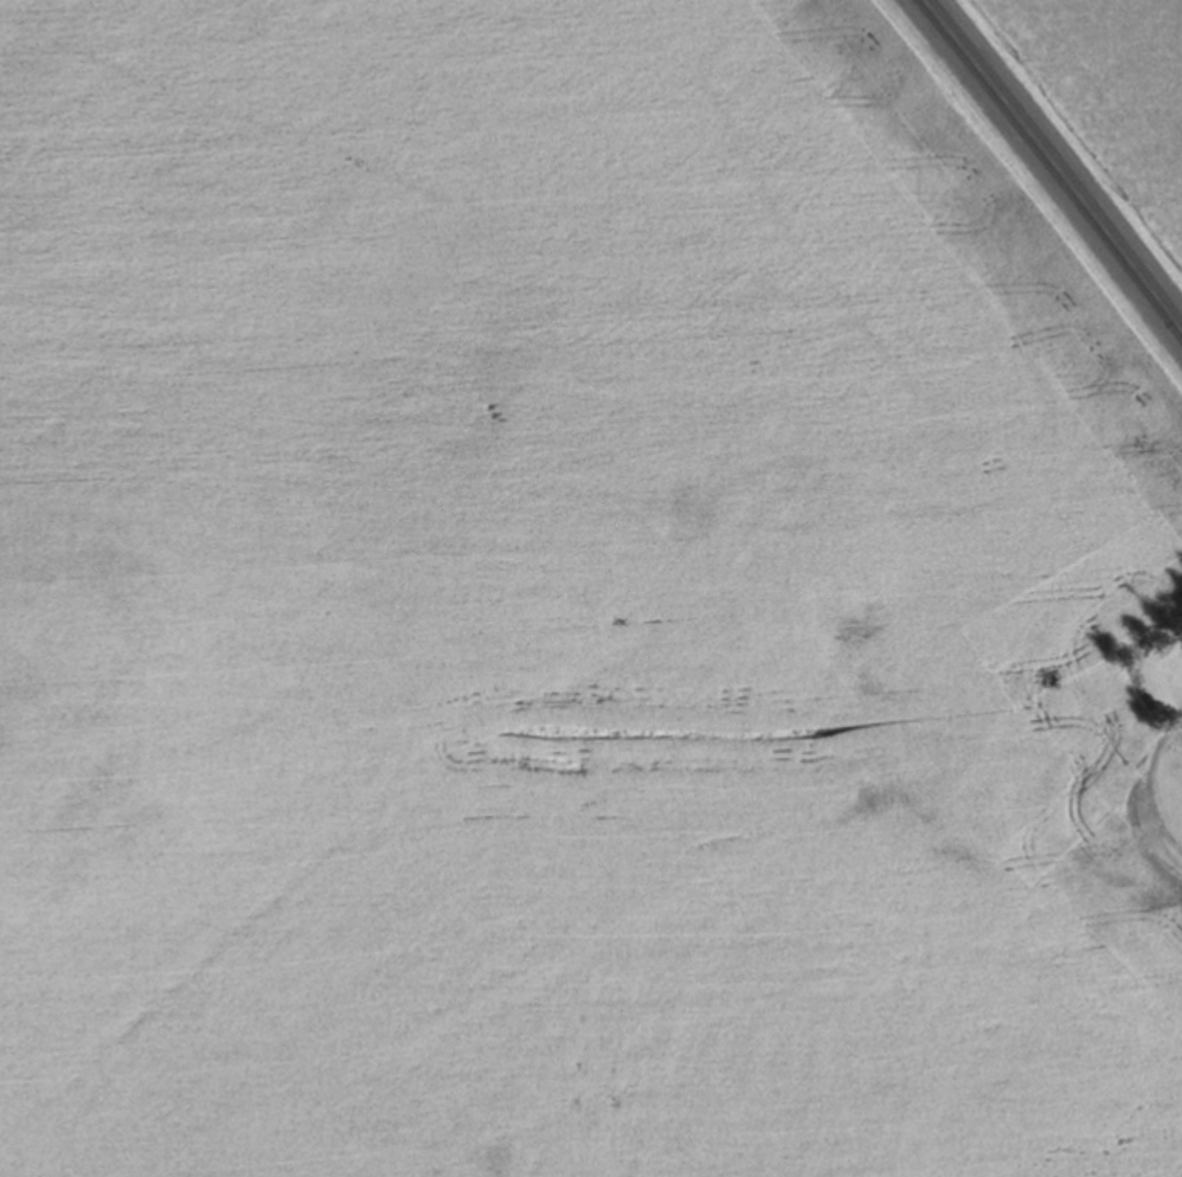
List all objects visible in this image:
road: (1056, 167)
road: (1133, 776)

